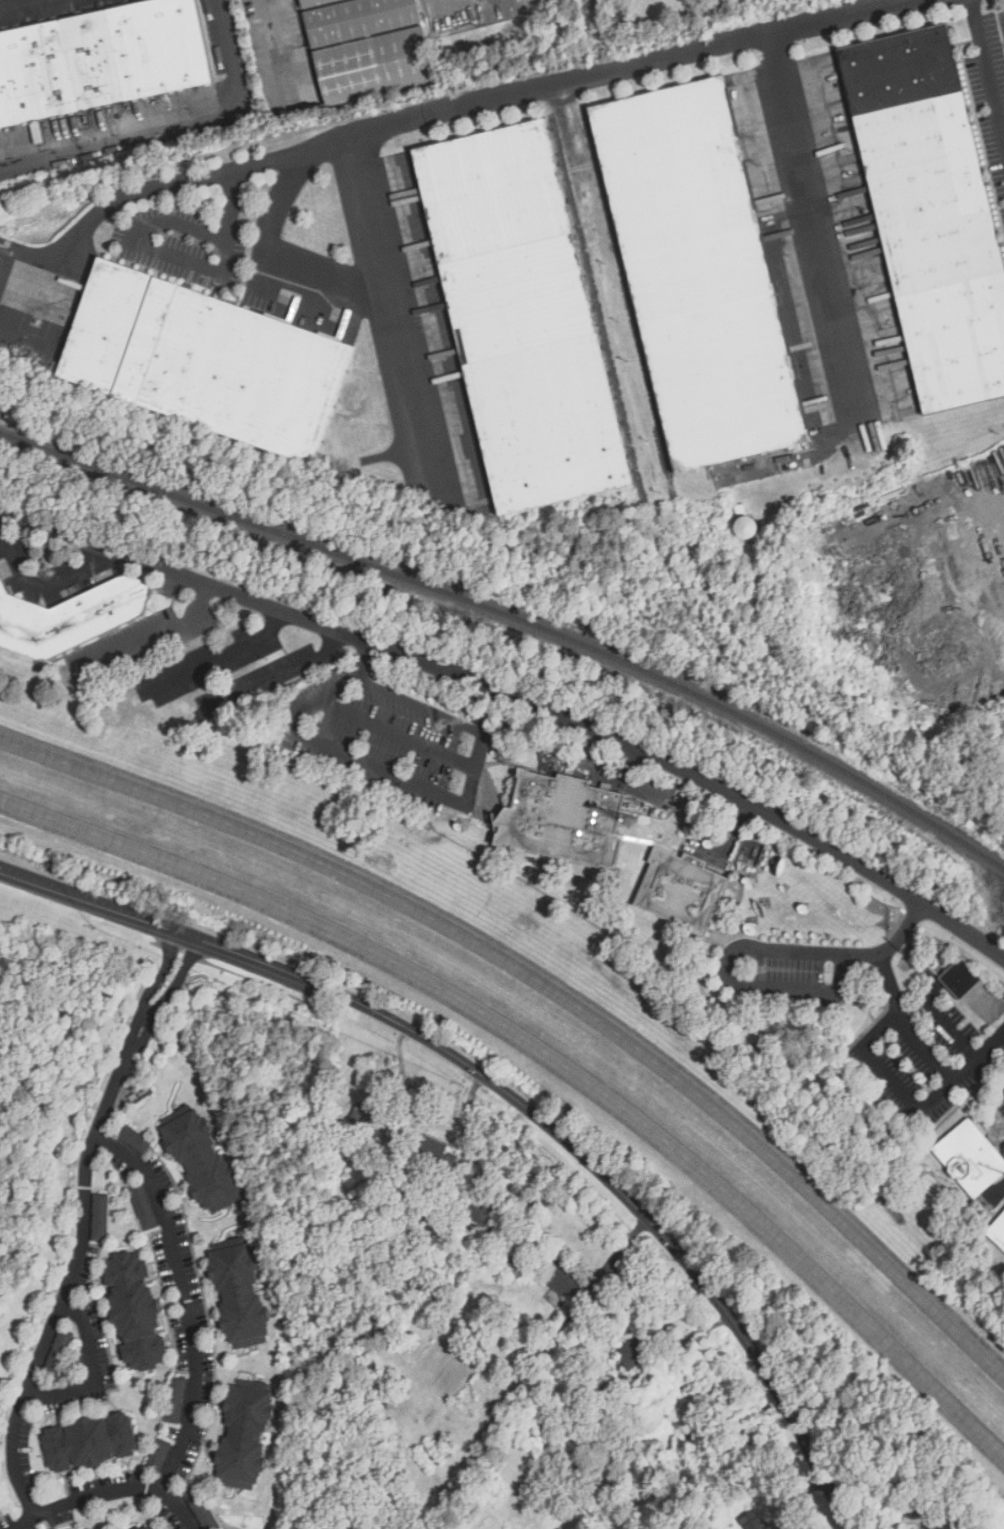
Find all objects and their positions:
road: (13, 2)
building: (314, 3)
building: (359, 20)
road: (280, 49)
building: (100, 59)
building: (374, 66)
road: (986, 71)
road: (166, 121)
road: (401, 124)
road: (795, 153)
building: (932, 212)
road: (278, 252)
road: (182, 260)
building: (700, 273)
road: (390, 306)
building: (522, 317)
building: (205, 361)
building: (746, 527)
road: (43, 583)
building: (71, 616)
railway: (515, 622)
road: (153, 639)
road: (362, 657)
road: (217, 658)
road: (272, 676)
road: (324, 696)
road: (518, 699)
road: (419, 705)
road: (489, 712)
road: (396, 732)
road: (410, 780)
building: (555, 819)
building: (750, 852)
building: (680, 889)
road: (747, 945)
building: (961, 977)
road: (166, 985)
road: (546, 986)
road: (946, 1024)
road: (923, 1051)
road: (548, 1055)
road: (887, 1077)
road: (508, 1095)
building: (362, 1114)
building: (134, 1139)
building: (433, 1149)
building: (970, 1157)
building: (203, 1161)
building: (143, 1206)
building: (485, 1213)
building: (100, 1216)
building: (423, 1221)
building: (997, 1232)
building: (514, 1264)
road: (72, 1273)
building: (563, 1282)
building: (246, 1295)
road: (184, 1301)
building: (136, 1310)
building: (636, 1350)
building: (58, 1352)
road: (96, 1370)
building: (178, 1398)
building: (245, 1437)
building: (90, 1441)
building: (158, 1454)
road: (108, 1493)
building: (201, 1508)
building: (754, 1520)
building: (152, 1526)
building: (143, 1528)

